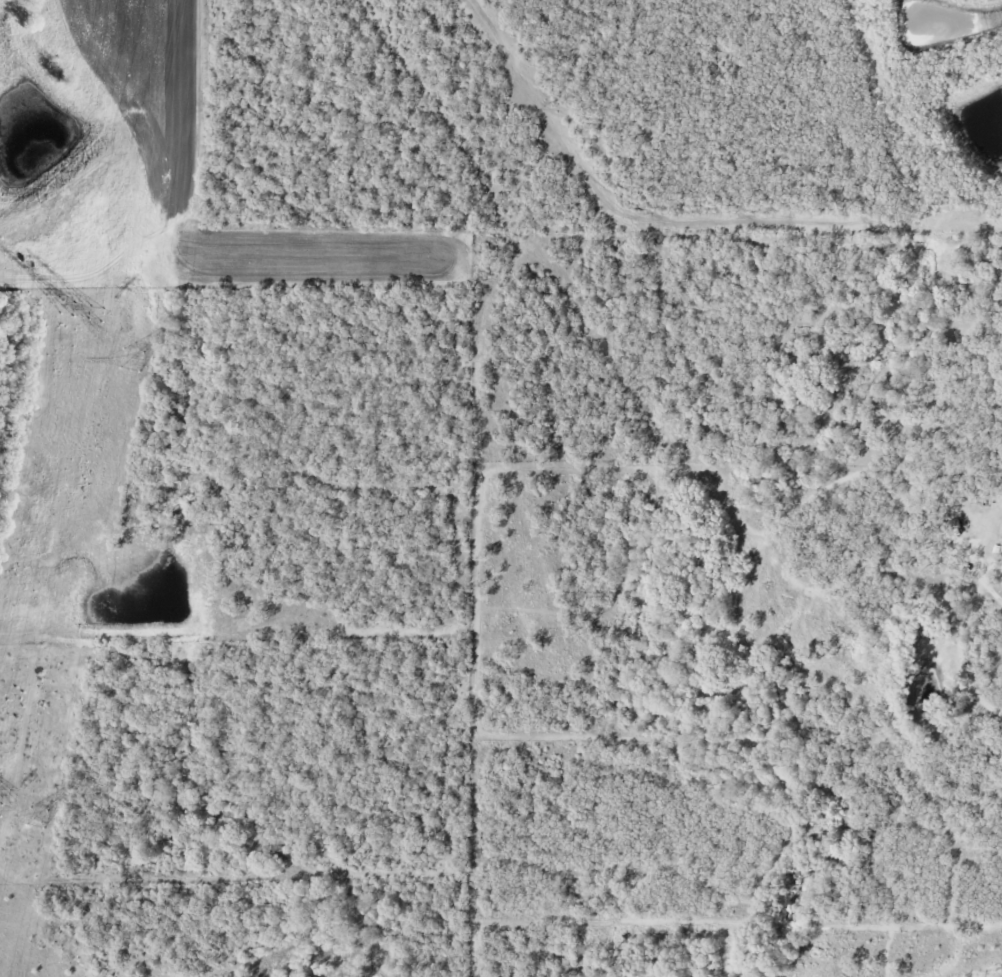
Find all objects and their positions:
power tower: (67, 309)
power tower: (98, 314)
power tower: (133, 361)
road: (989, 589)
power tower: (38, 818)

